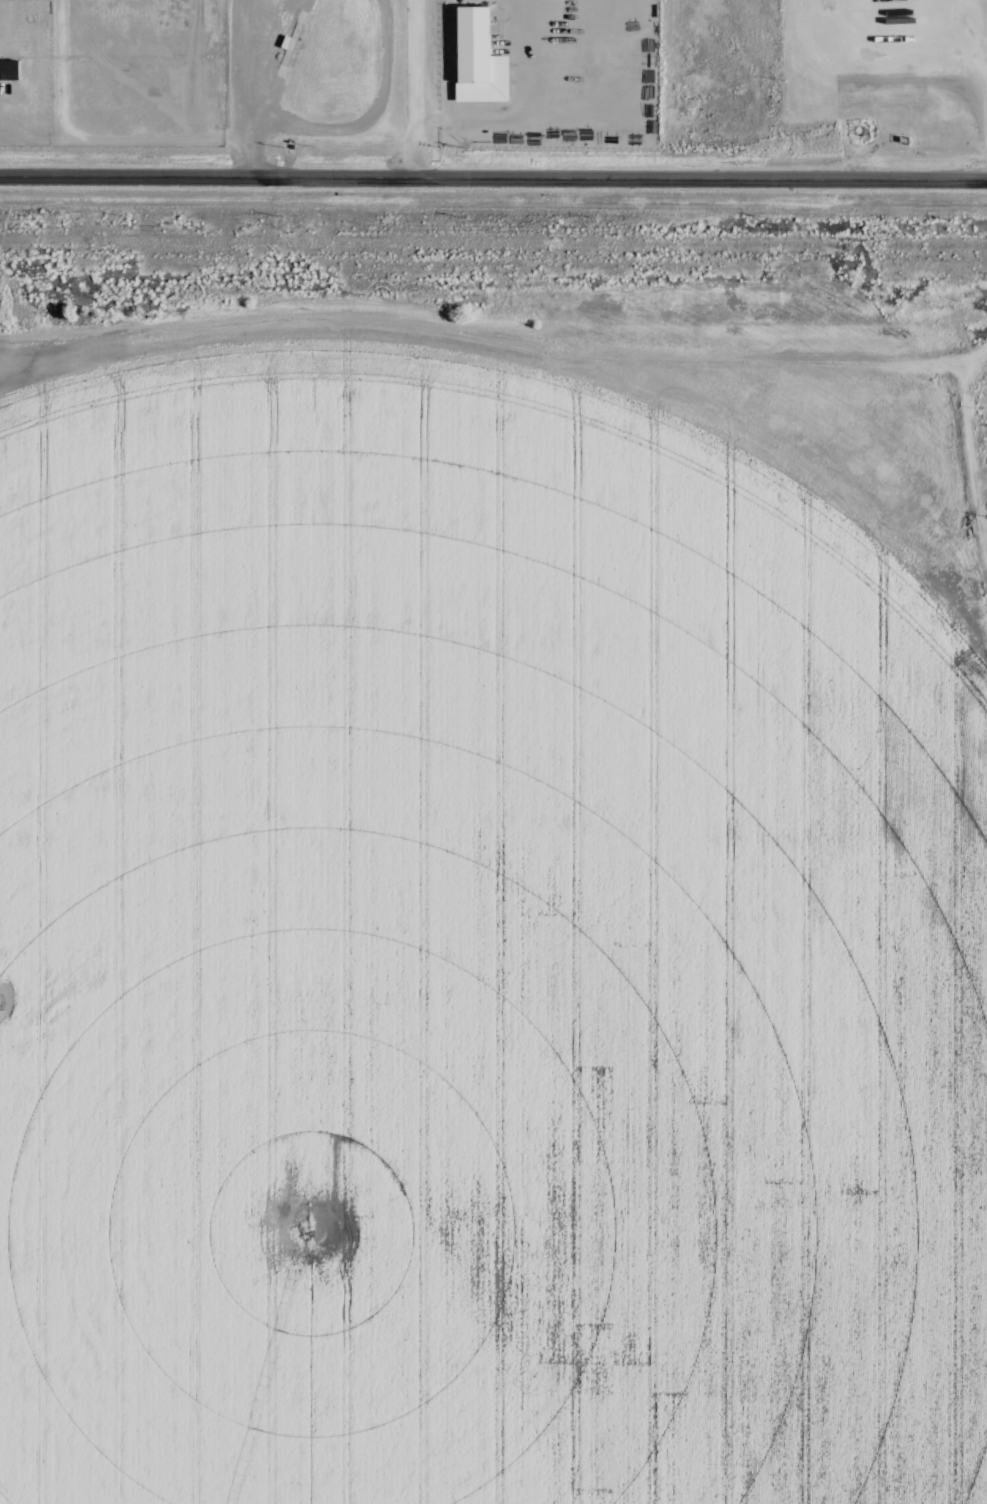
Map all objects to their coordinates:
building: (479, 59)
road: (493, 177)

